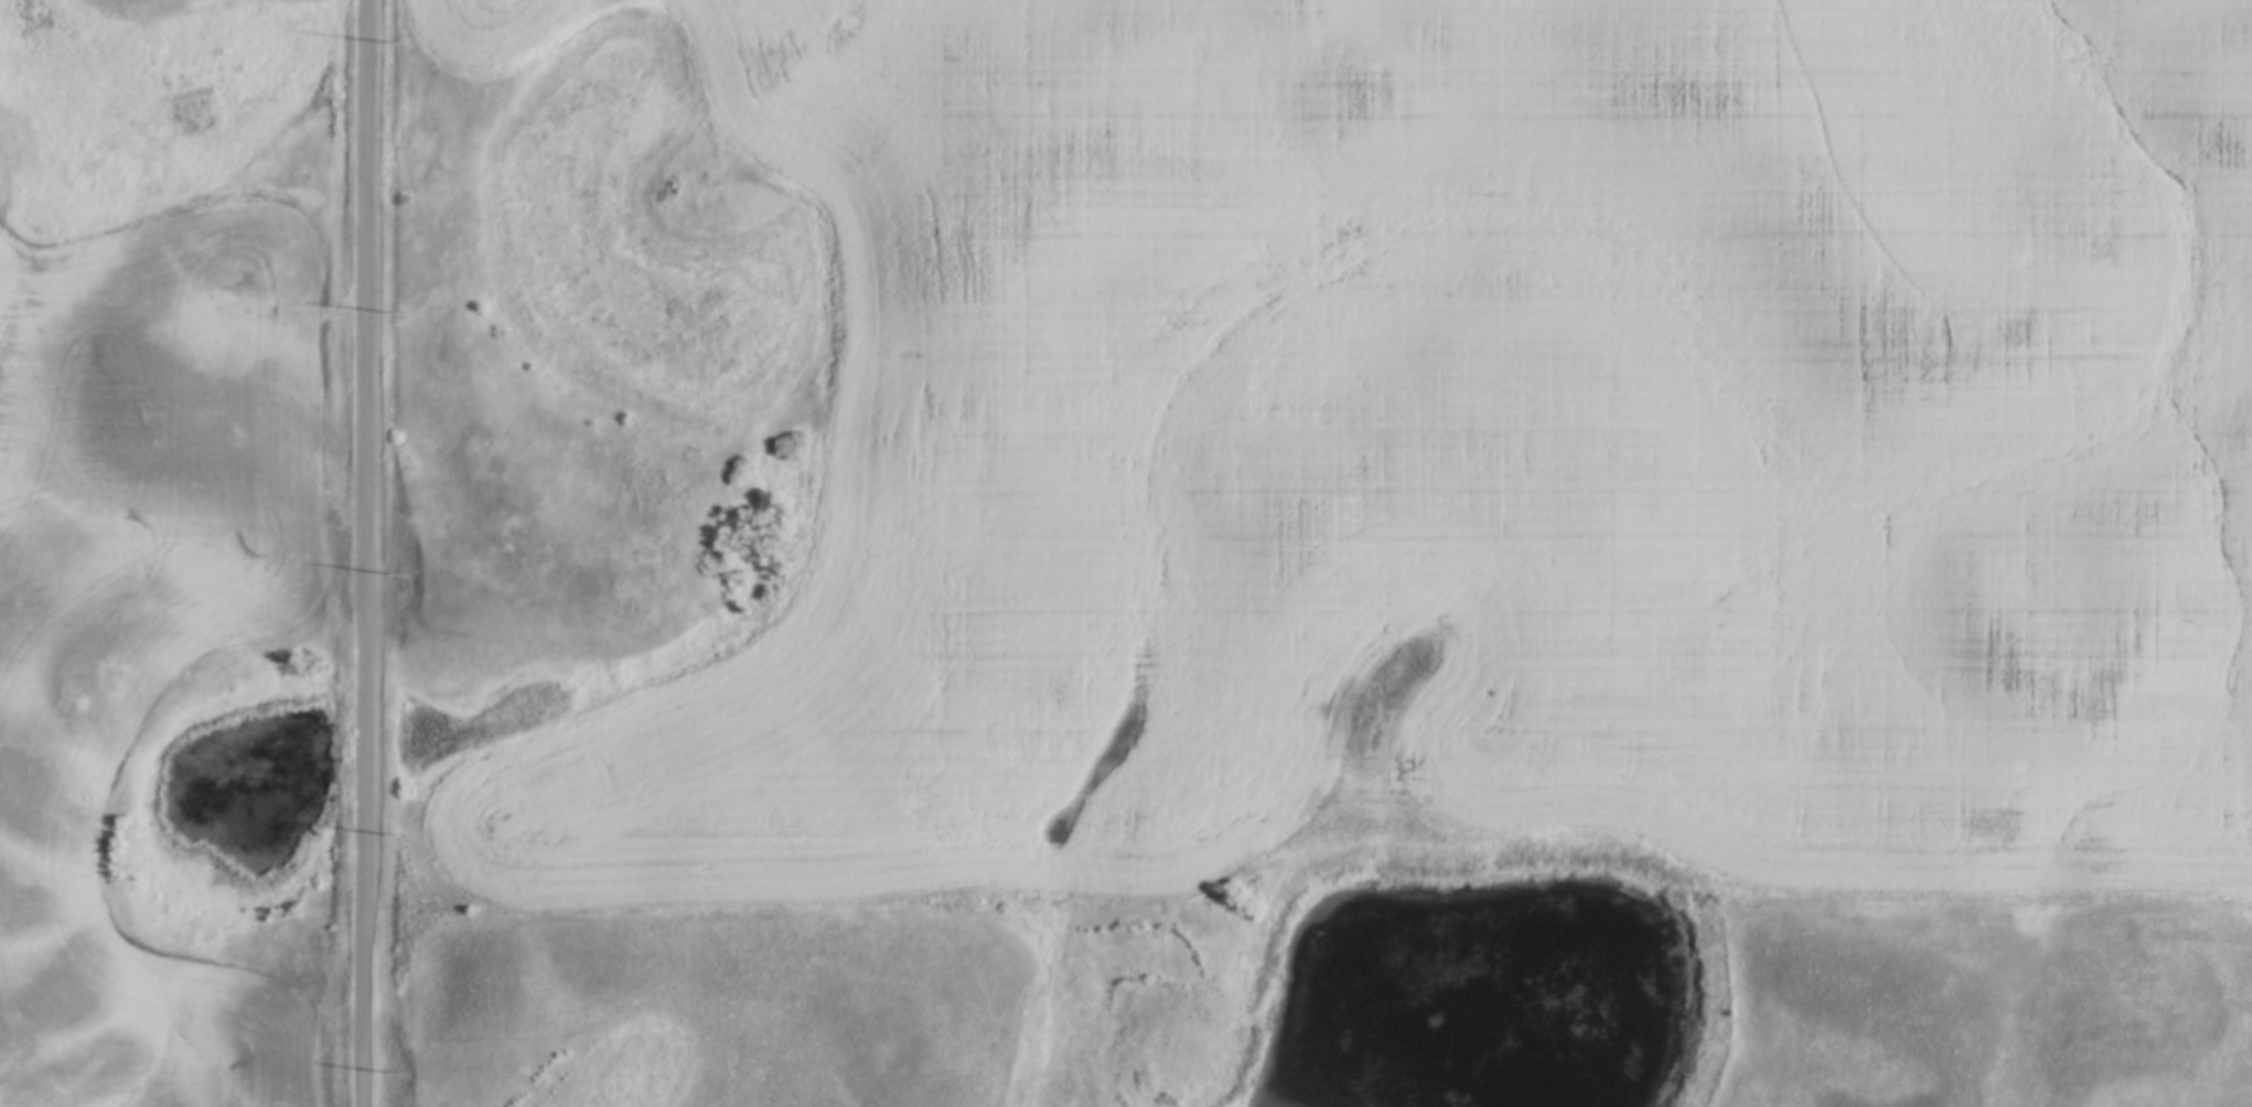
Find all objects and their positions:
wind turbine: (1929, 321)
road: (364, 552)

